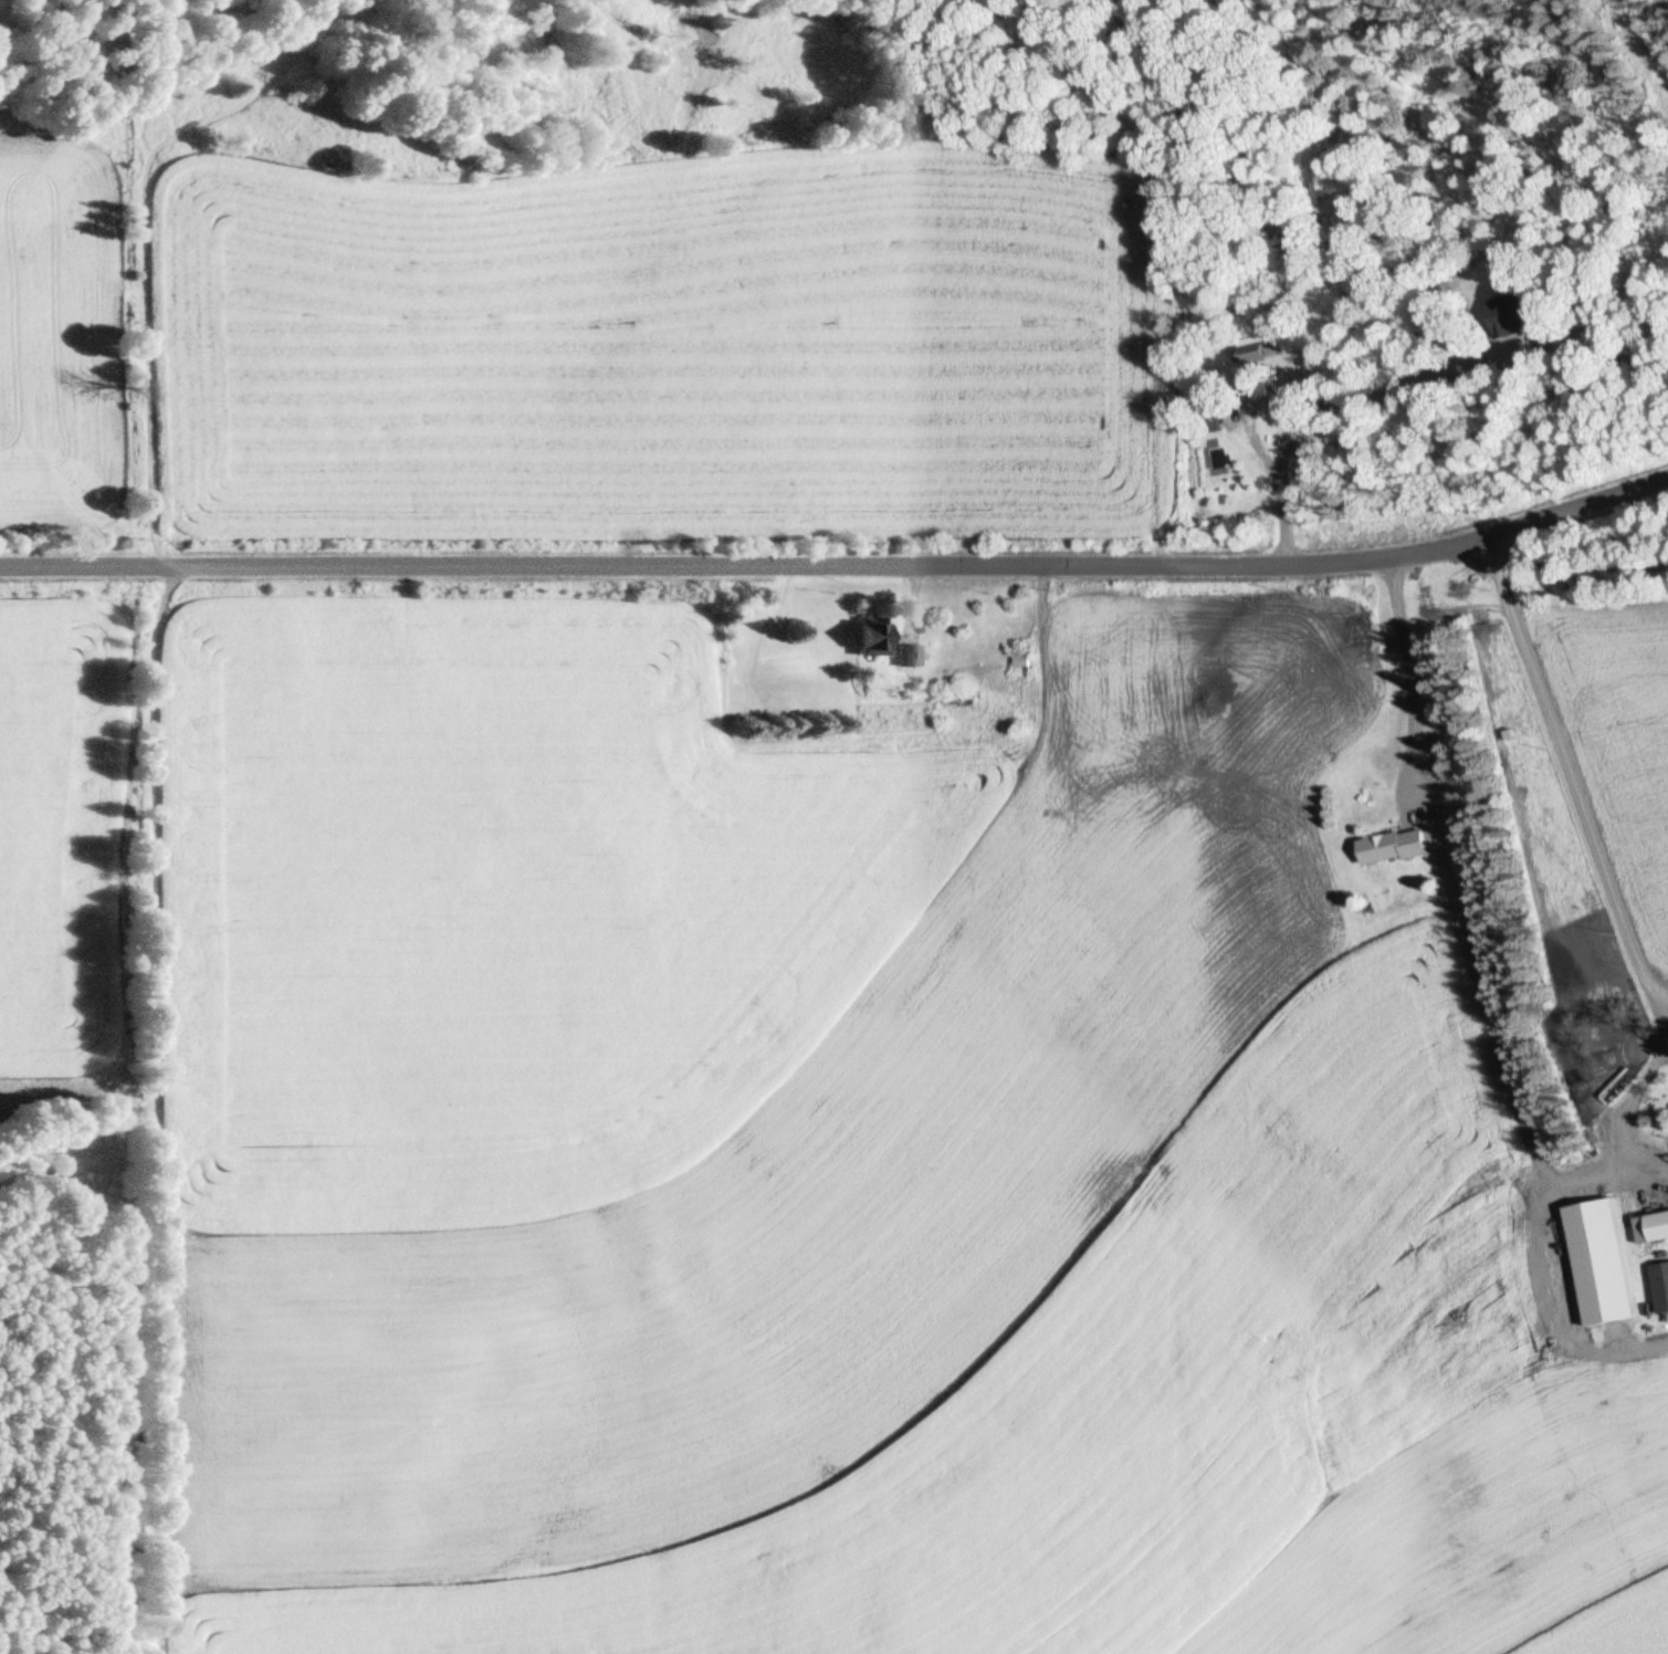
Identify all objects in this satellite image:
building: (1518, 318)
road: (839, 562)
building: (873, 639)
building: (905, 657)
road: (1565, 766)
building: (1394, 849)
road: (1446, 878)
road: (1658, 996)
road: (1657, 1024)
road: (1647, 1168)
road: (1535, 1211)
building: (1654, 1228)
building: (1604, 1264)
building: (1661, 1287)

